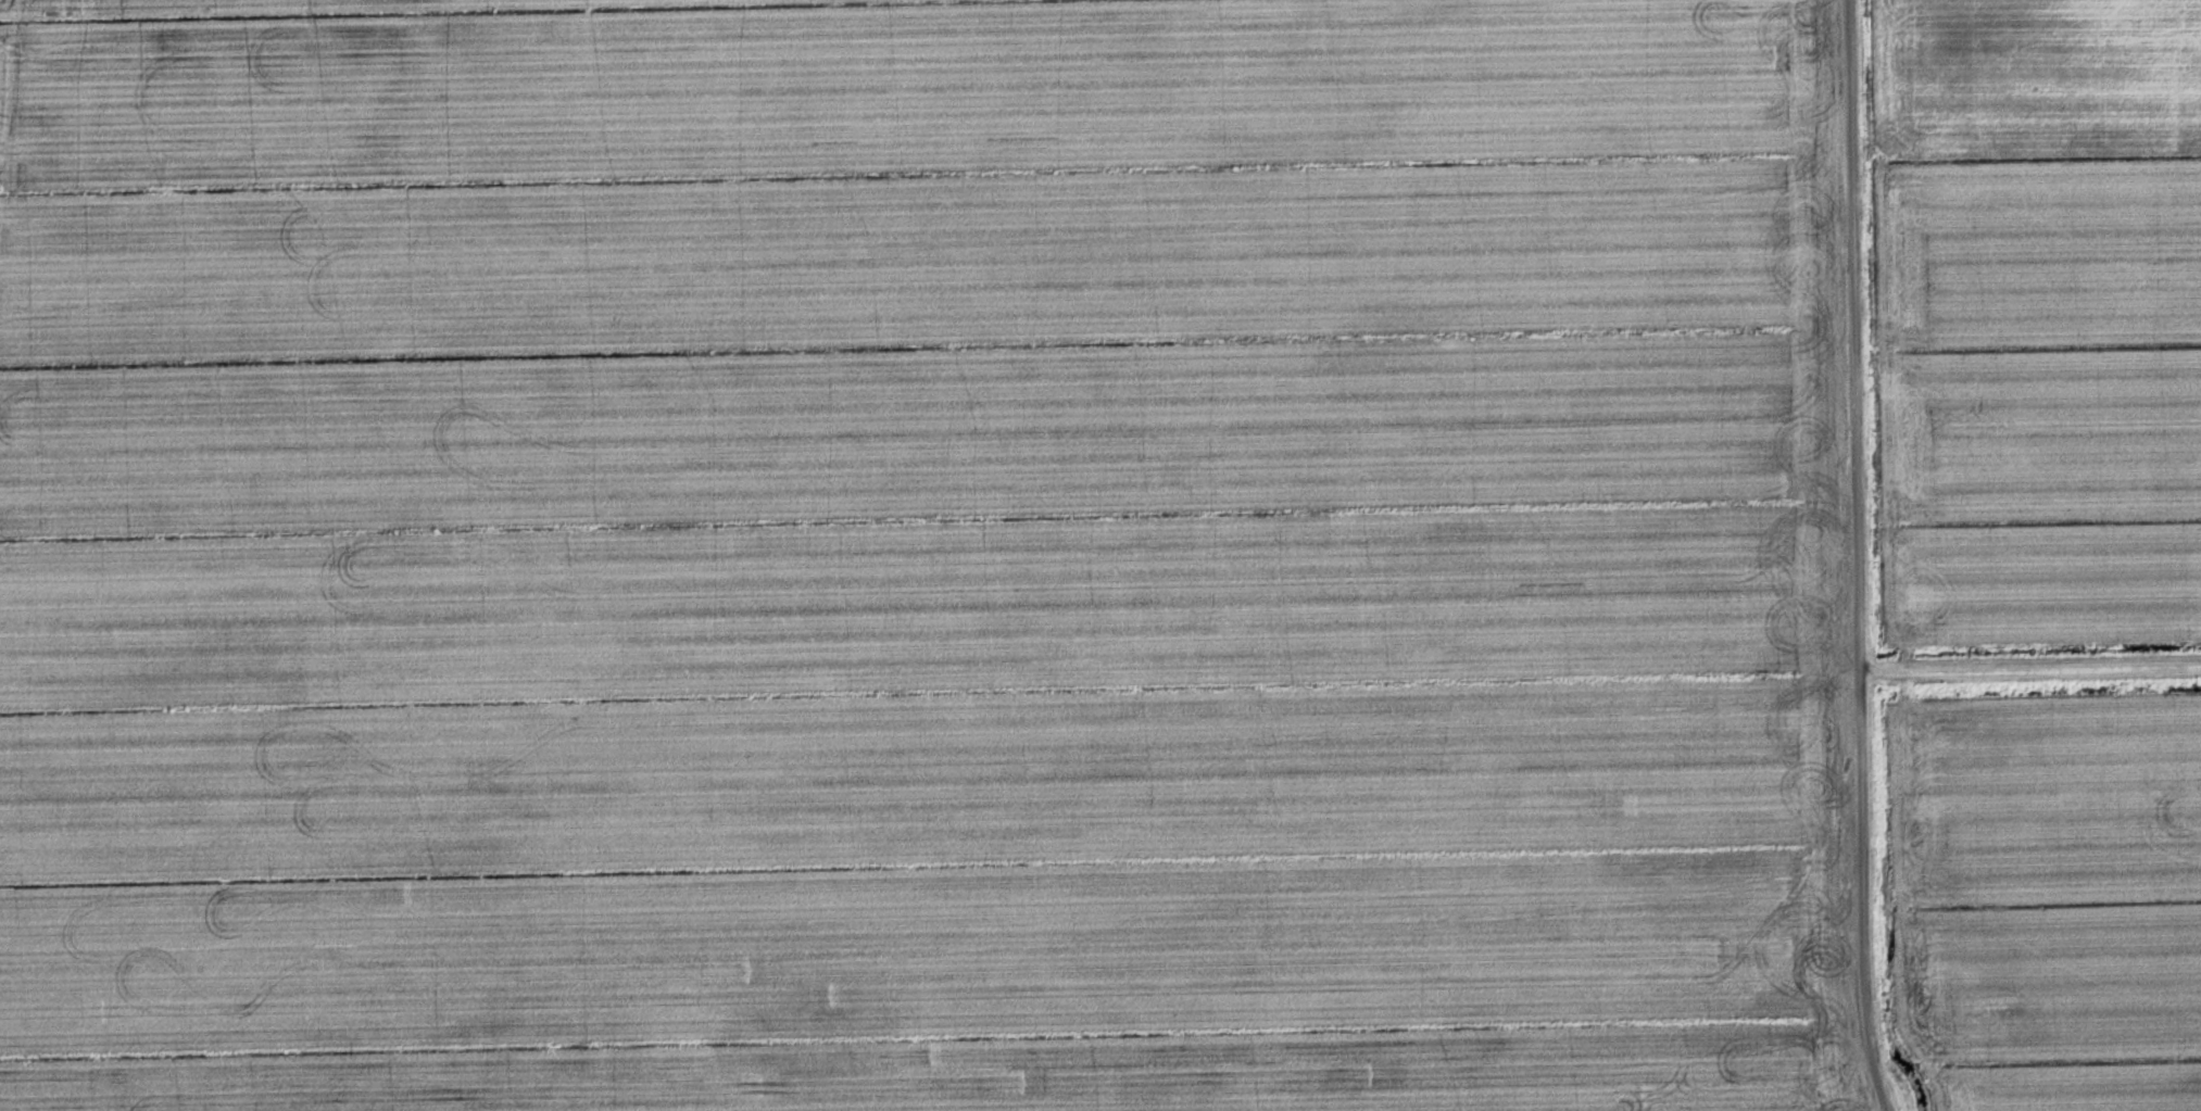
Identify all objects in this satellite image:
crop: (2039, 320)
road: (1858, 557)
crop: (2050, 902)

